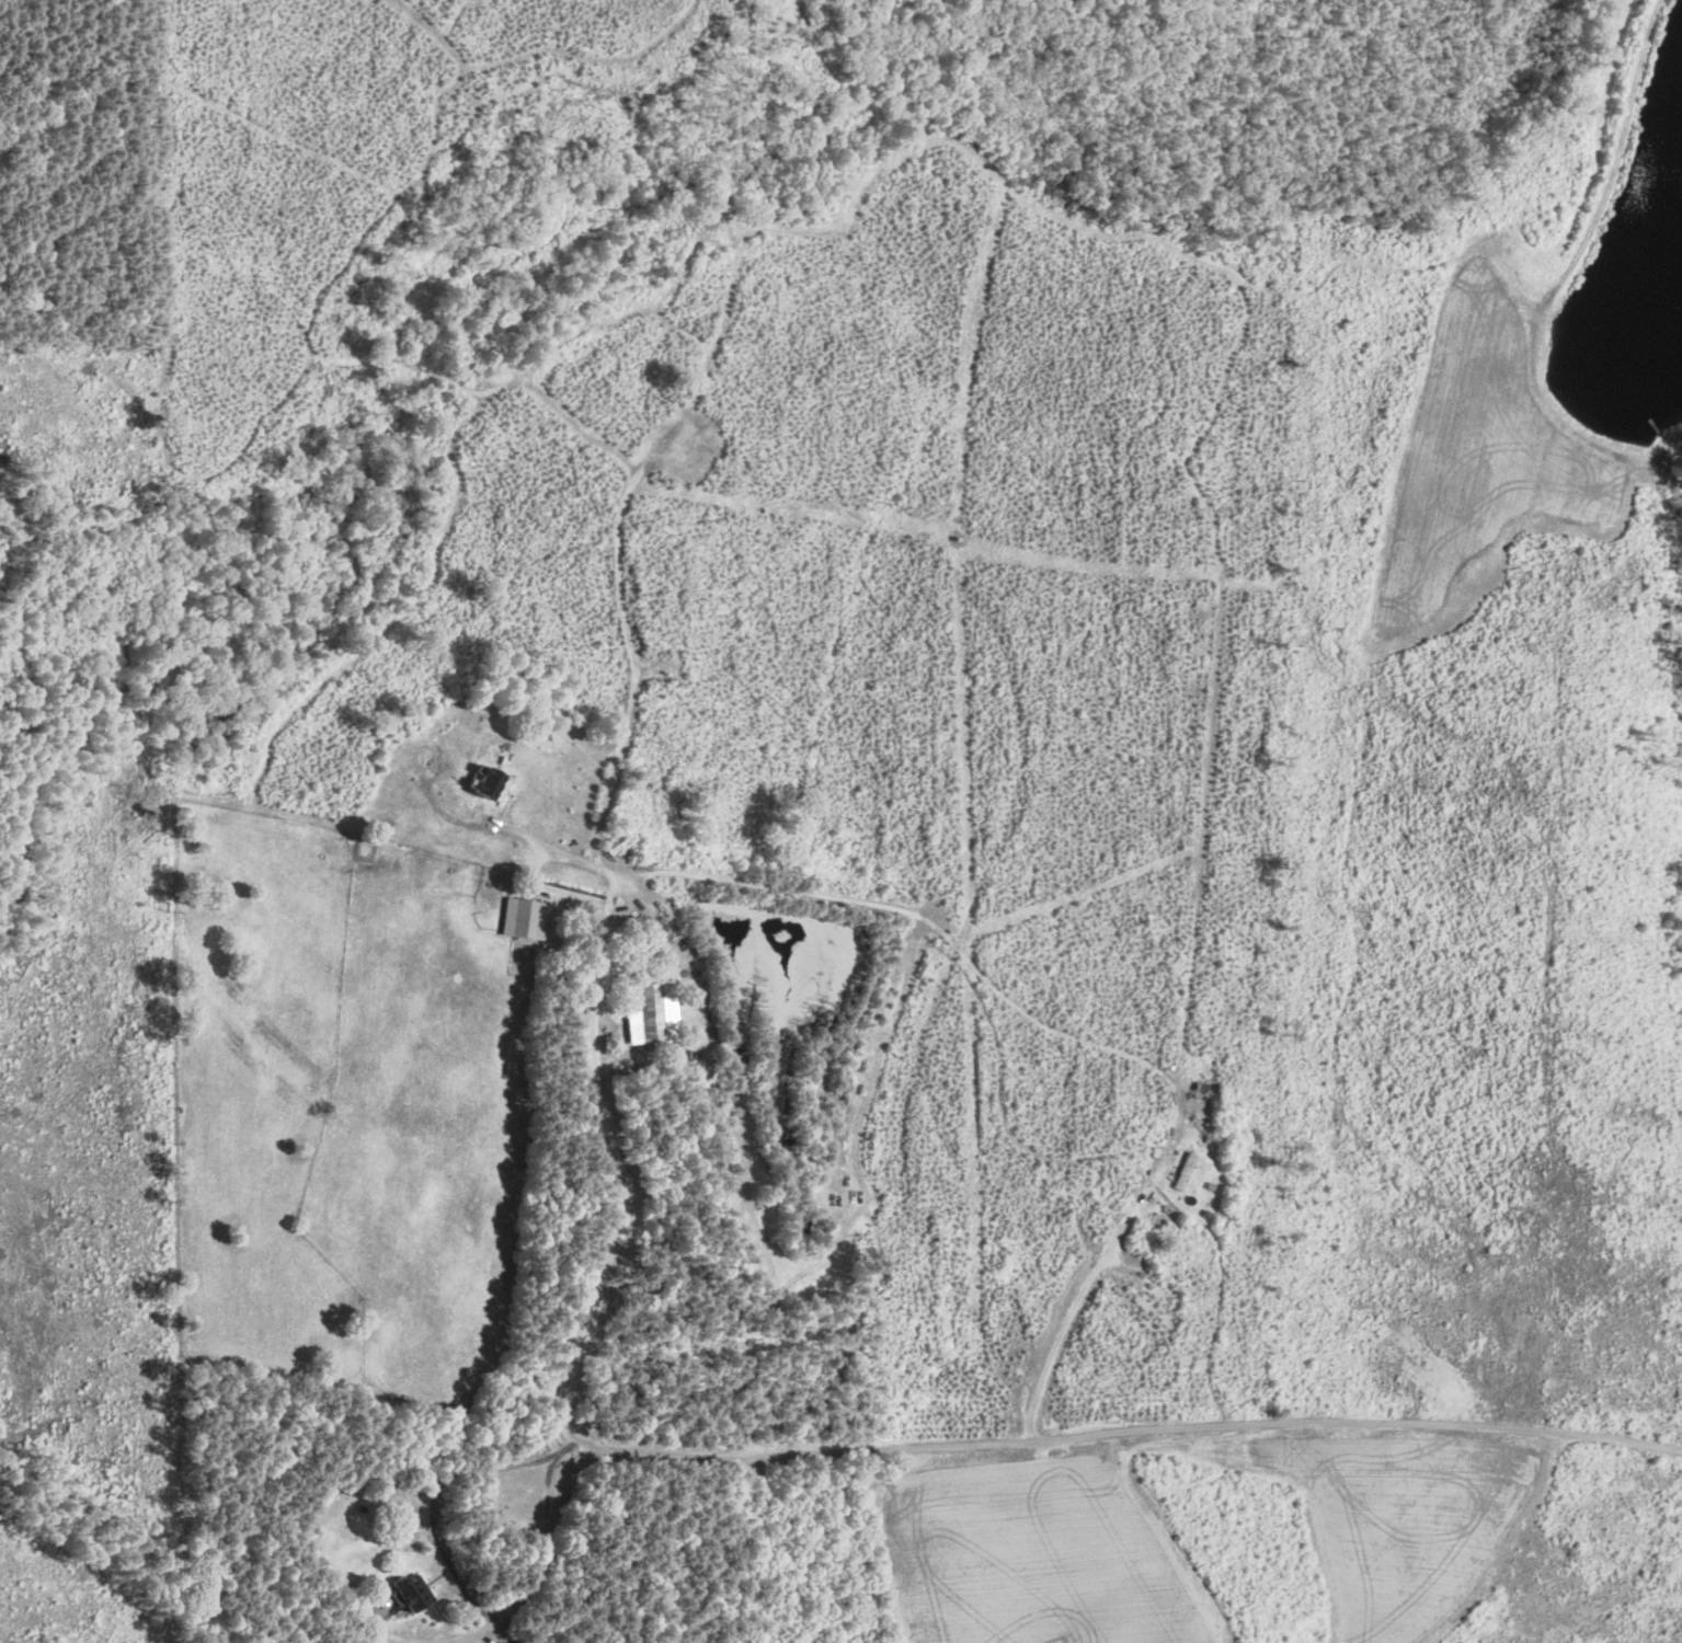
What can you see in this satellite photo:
building: (483, 784)
road: (546, 846)
building: (519, 918)
road: (602, 984)
building: (643, 1012)
building: (1180, 1171)
road: (1064, 1317)
road: (1134, 1448)
road: (466, 1589)
building: (408, 1592)

